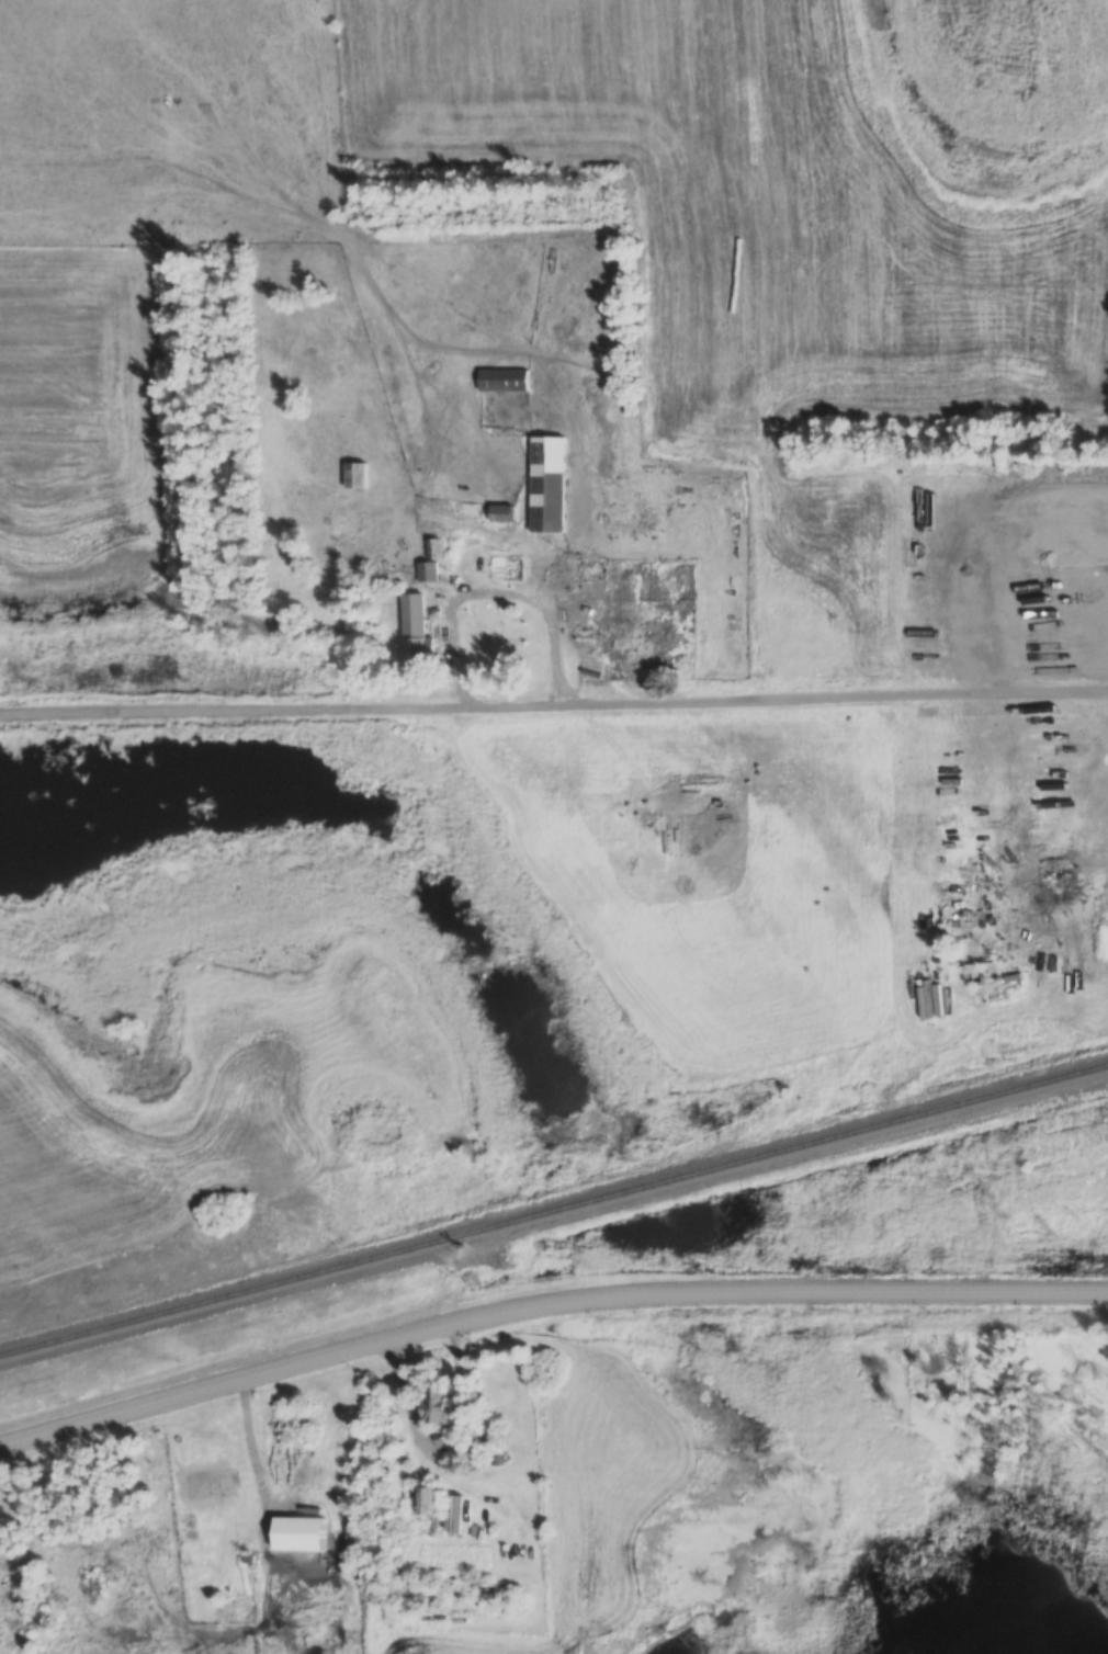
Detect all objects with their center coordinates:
building: (502, 379)
building: (357, 475)
building: (549, 484)
building: (500, 513)
building: (427, 571)
road: (502, 594)
building: (415, 627)
road: (746, 700)
road: (192, 709)
railway: (554, 1208)
road: (545, 1300)
building: (437, 1404)
road: (439, 1440)
road: (249, 1463)
building: (425, 1499)
building: (301, 1532)

